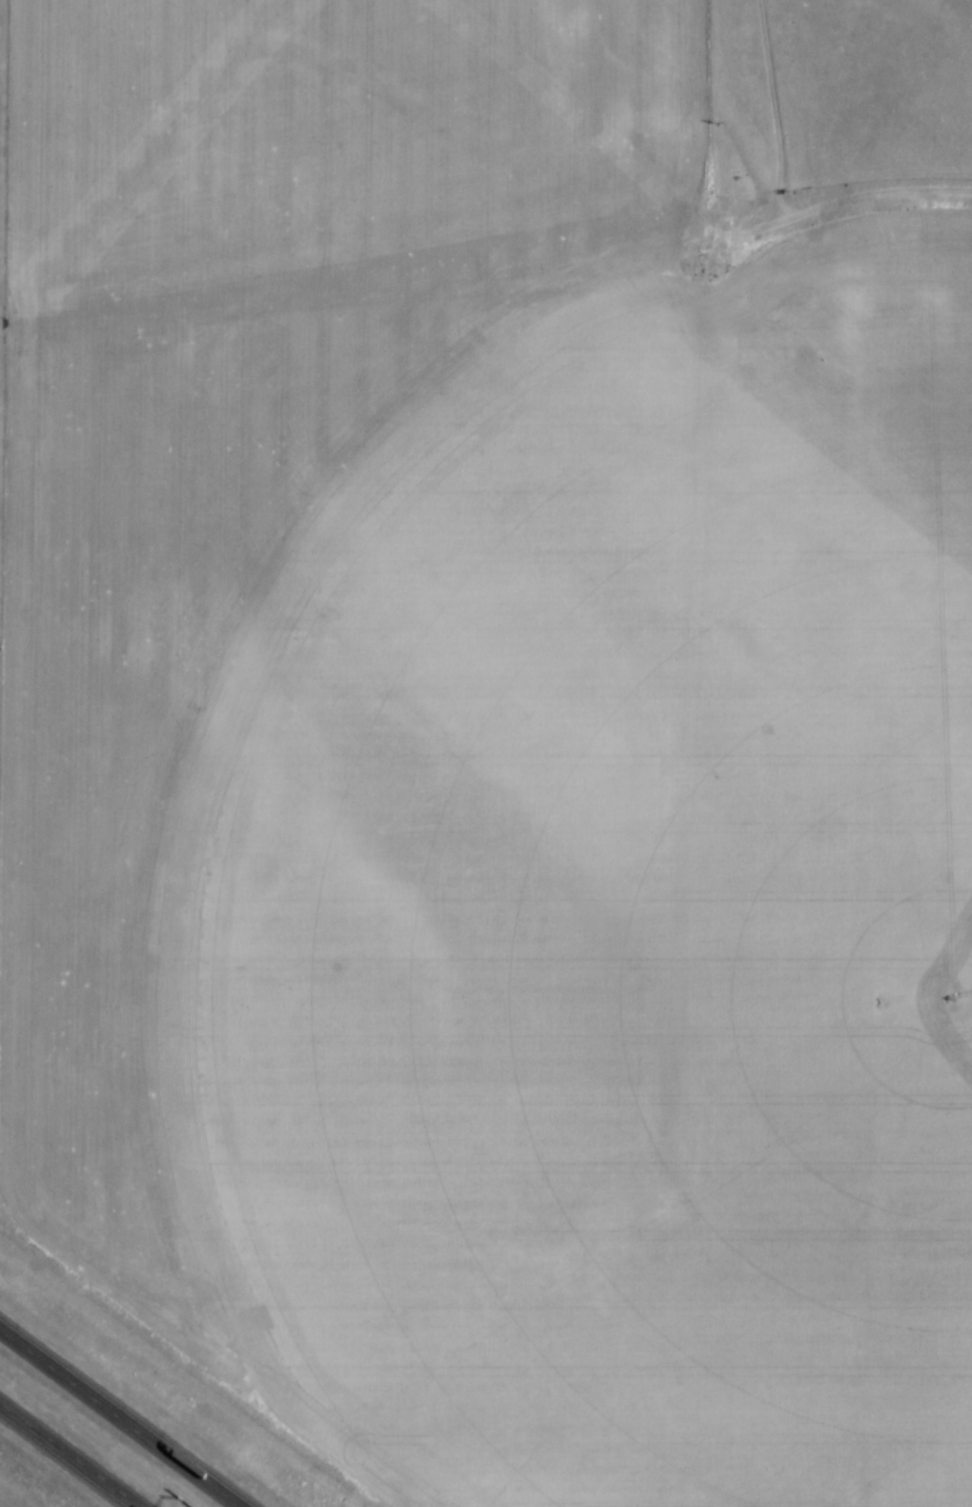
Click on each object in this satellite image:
crop: (486, 762)
road: (122, 1416)
road: (70, 1455)

